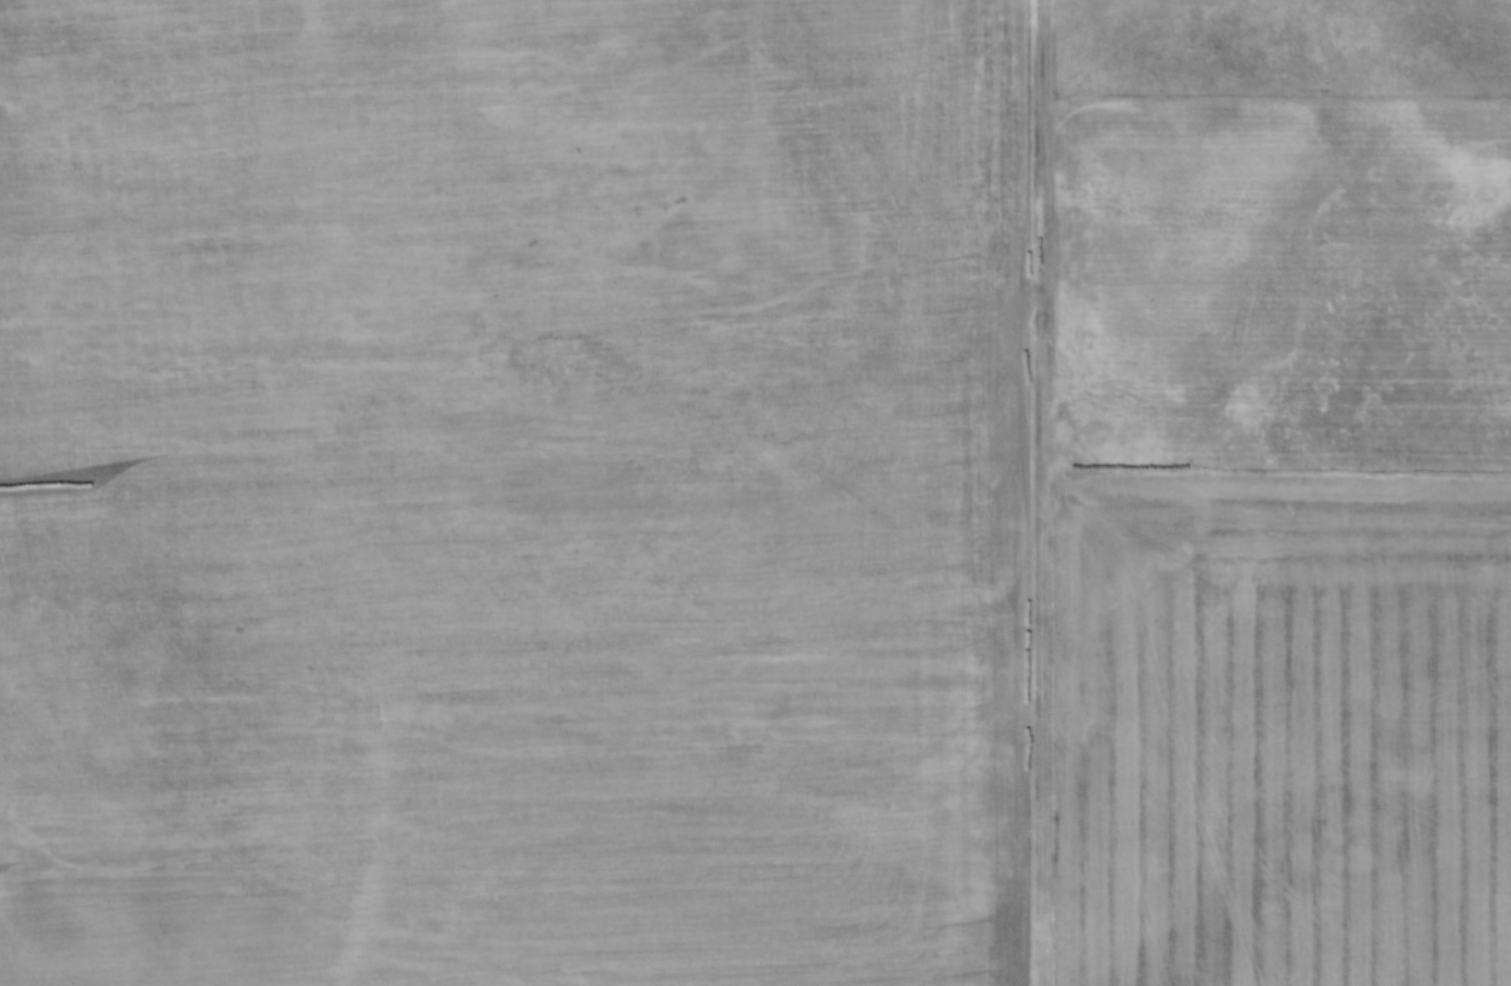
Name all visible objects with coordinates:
road: (1048, 492)

